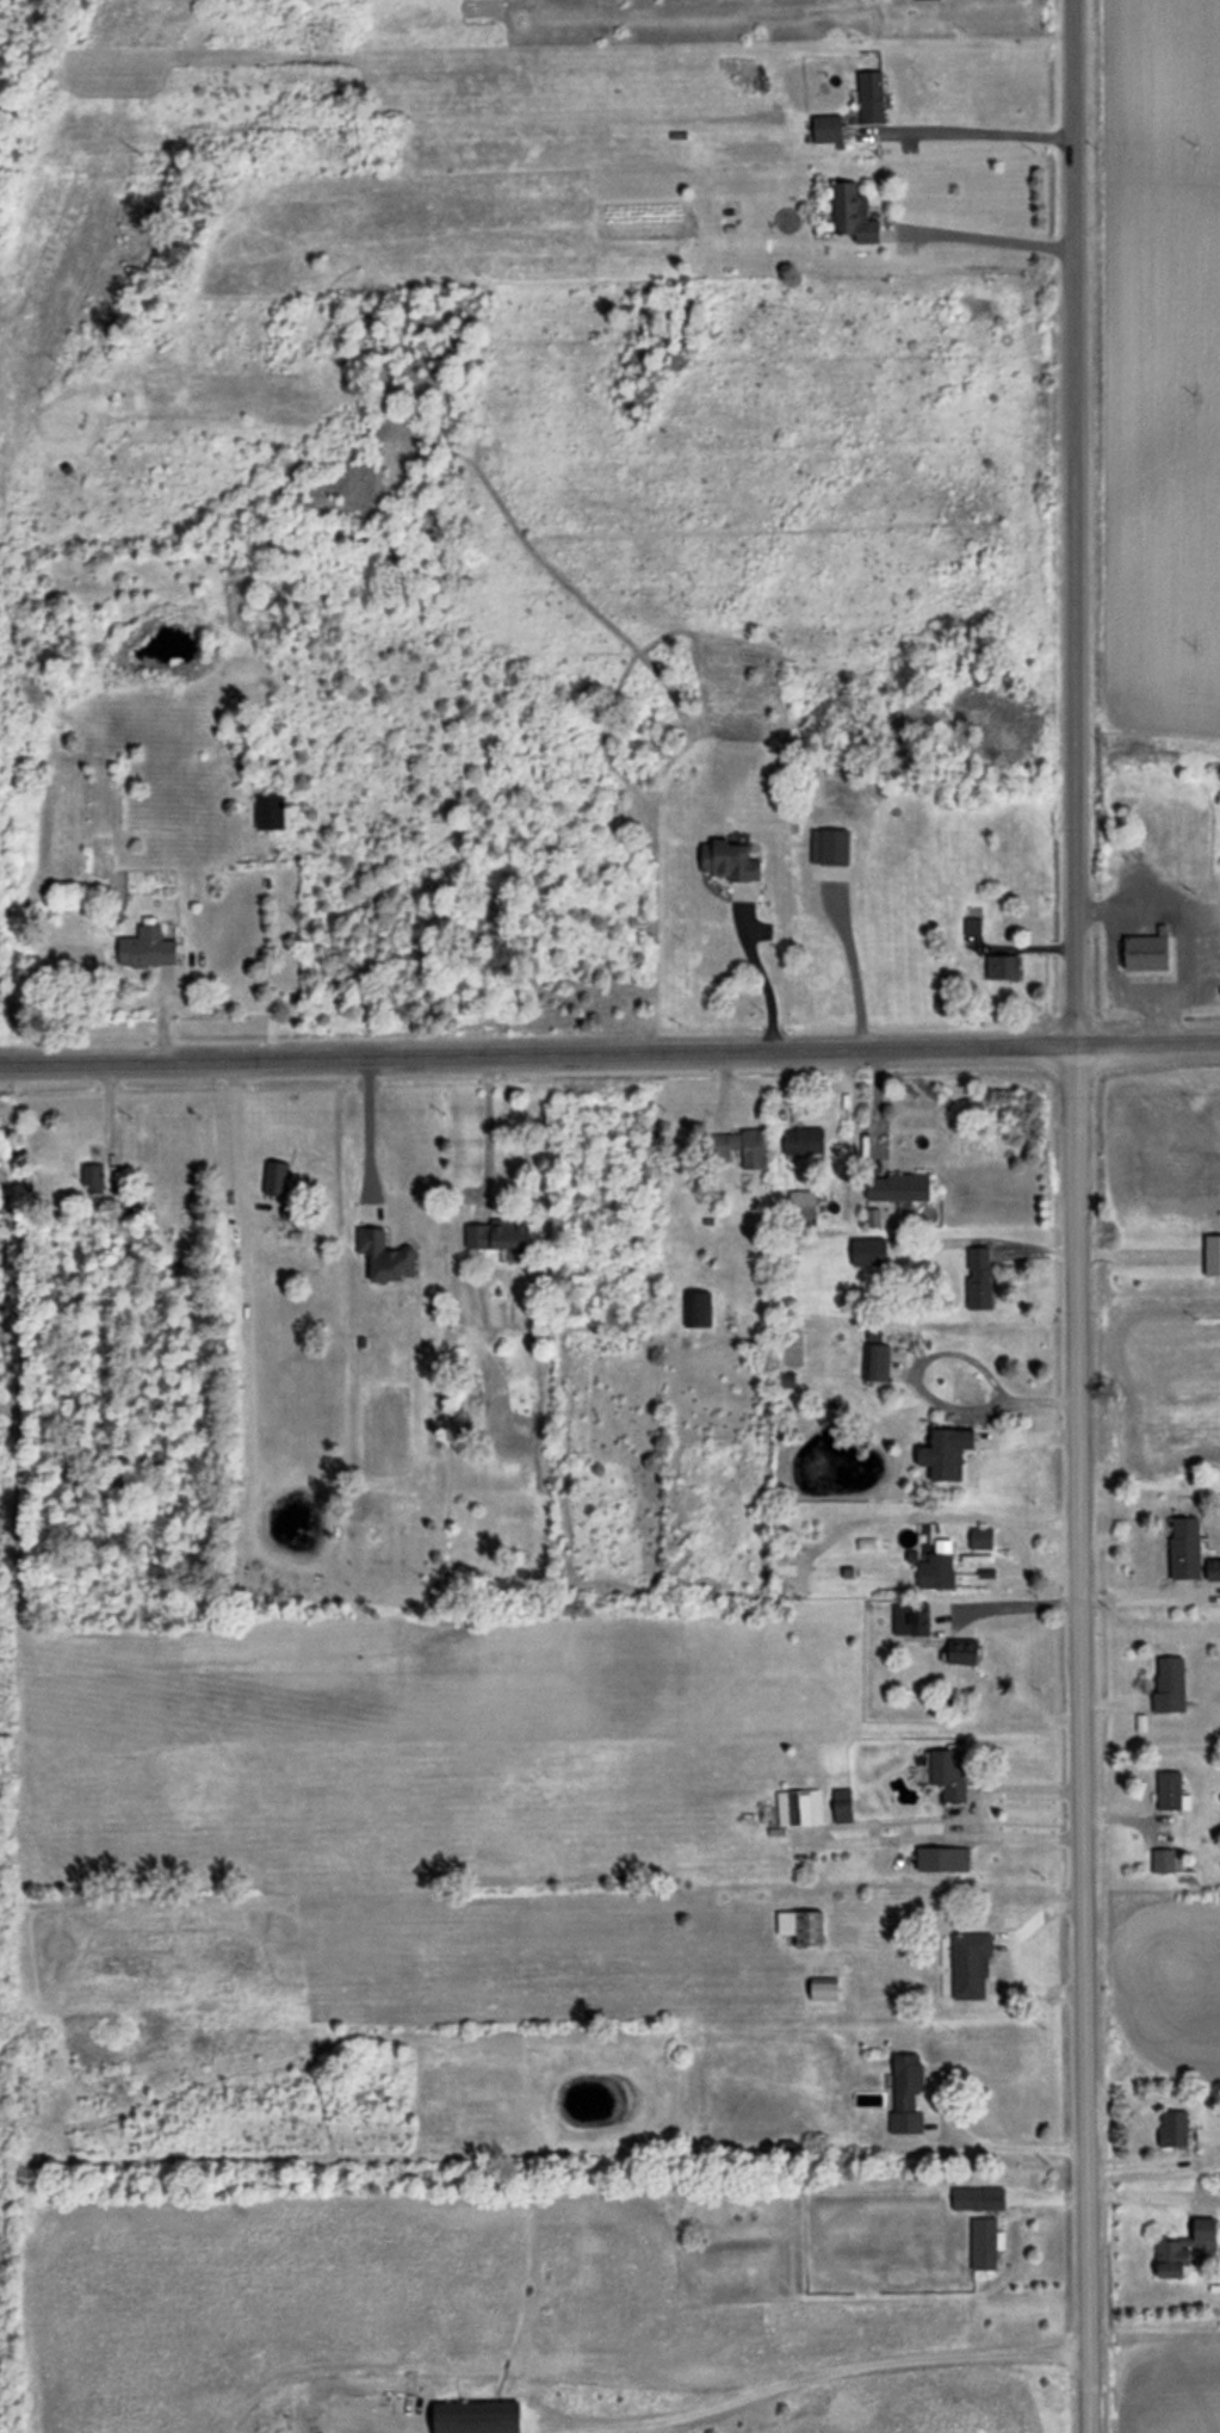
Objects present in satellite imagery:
building: (871, 97)
building: (828, 128)
road: (976, 131)
building: (853, 212)
road: (980, 244)
building: (270, 811)
building: (830, 846)
building: (730, 860)
building: (147, 947)
building: (1137, 952)
building: (999, 966)
road: (853, 971)
road: (762, 982)
road: (1114, 988)
road: (1158, 1017)
road: (609, 1050)
road: (878, 1107)
road: (484, 1126)
road: (366, 1131)
road: (233, 1138)
building: (803, 1140)
building: (744, 1145)
building: (93, 1177)
building: (275, 1177)
building: (898, 1187)
building: (801, 1203)
road: (1076, 1216)
building: (497, 1233)
building: (868, 1251)
building: (384, 1255)
building: (978, 1276)
building: (698, 1308)
building: (877, 1362)
road: (928, 1397)
building: (947, 1451)
building: (981, 1537)
building: (1184, 1547)
building: (937, 1566)
building: (1213, 1568)
road: (1150, 1596)
road: (1016, 1605)
building: (910, 1617)
building: (962, 1651)
building: (1170, 1684)
building: (948, 1772)
building: (842, 1804)
building: (798, 1807)
road: (973, 1810)
building: (942, 1858)
building: (801, 1925)
road: (1014, 1950)
building: (971, 1963)
building: (823, 1988)
building: (906, 2093)
building: (1173, 2128)
road: (1010, 2147)
building: (978, 2197)
building: (985, 2242)
building: (1183, 2248)
road: (1152, 2335)
road: (819, 2372)
building: (477, 2416)

